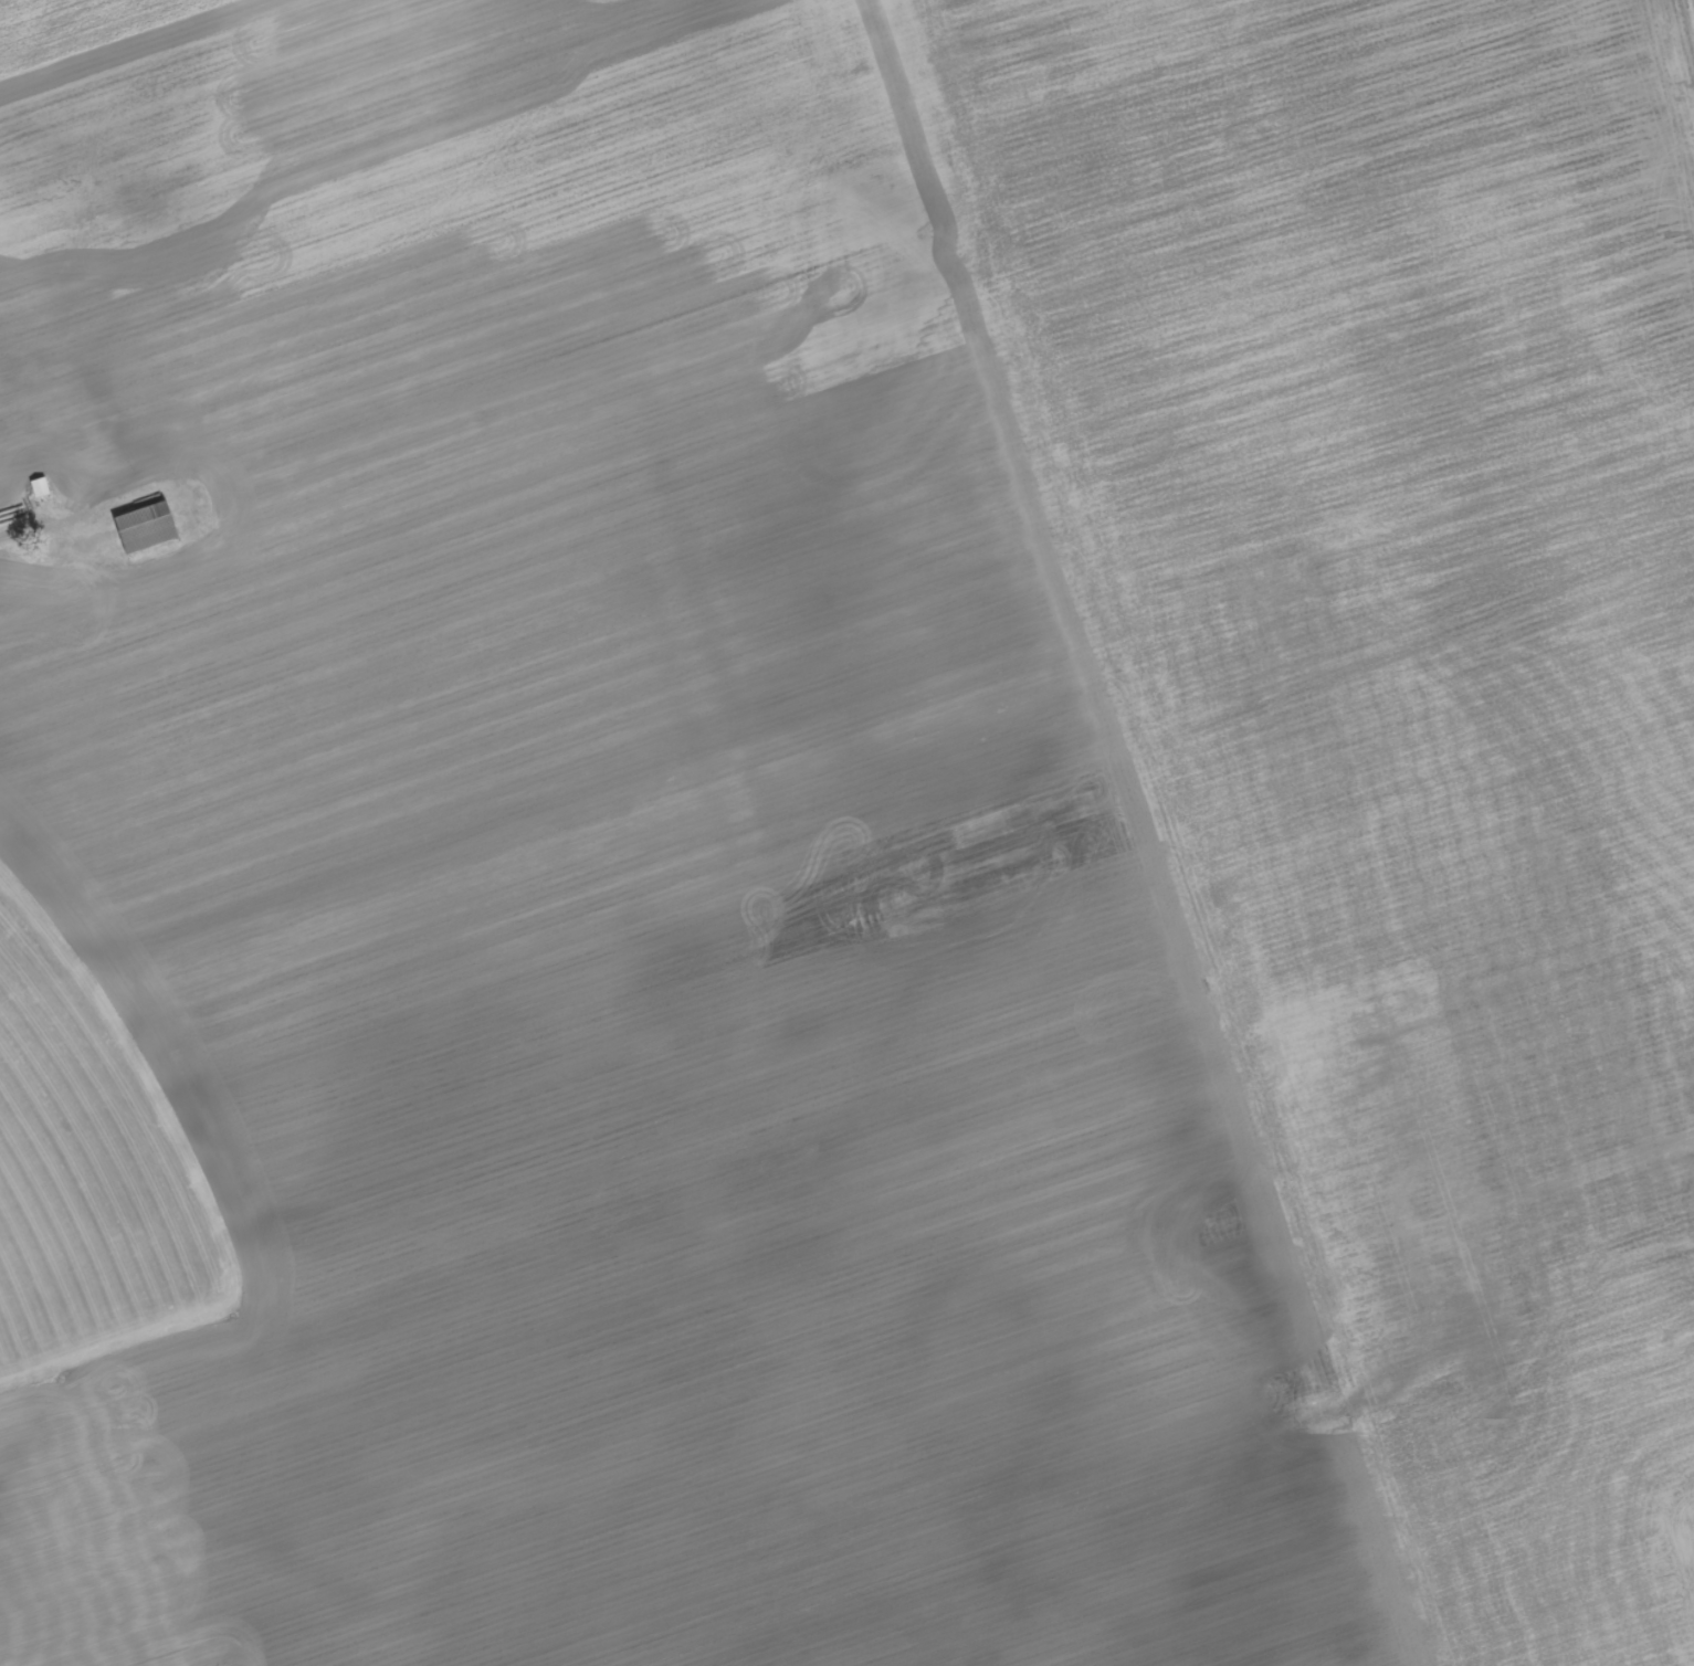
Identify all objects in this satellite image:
building: (11, 384)
building: (71, 485)
building: (41, 489)
building: (3, 496)
road: (33, 525)
building: (147, 529)
road: (104, 1463)

